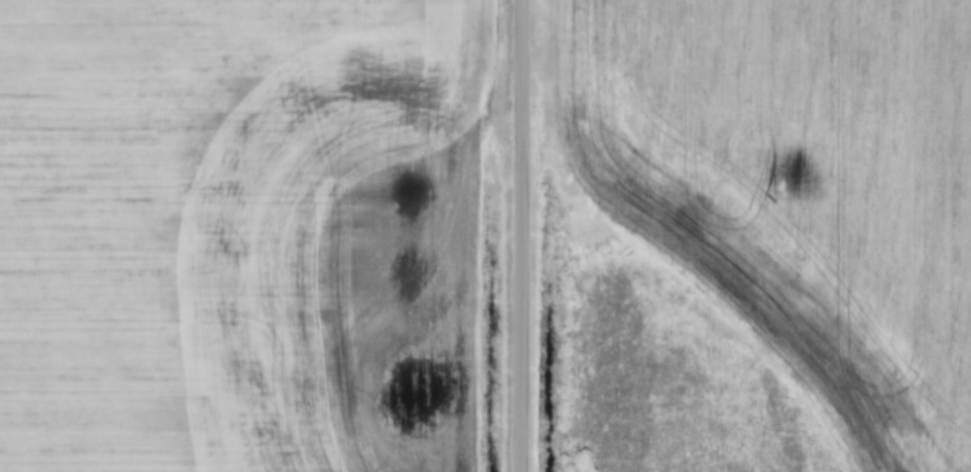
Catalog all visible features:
road: (522, 236)

